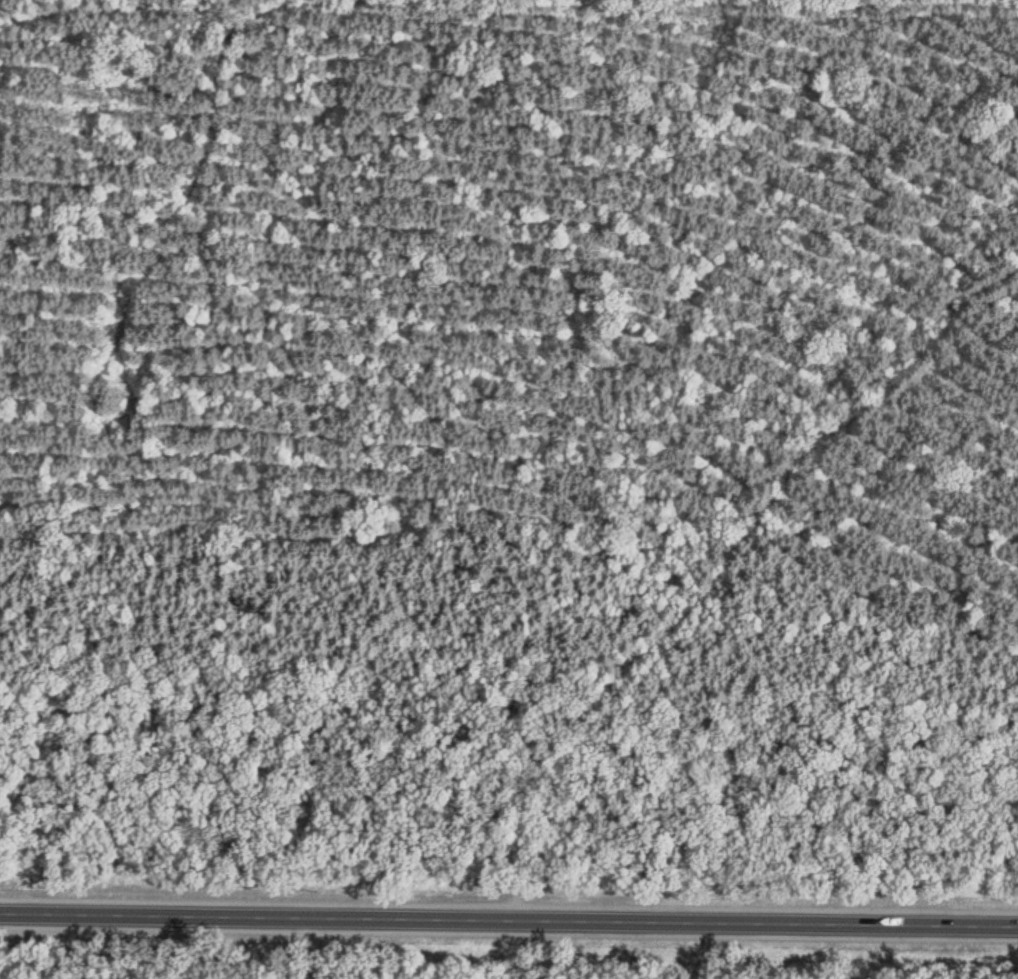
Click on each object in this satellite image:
road: (671, 499)
road: (508, 921)

